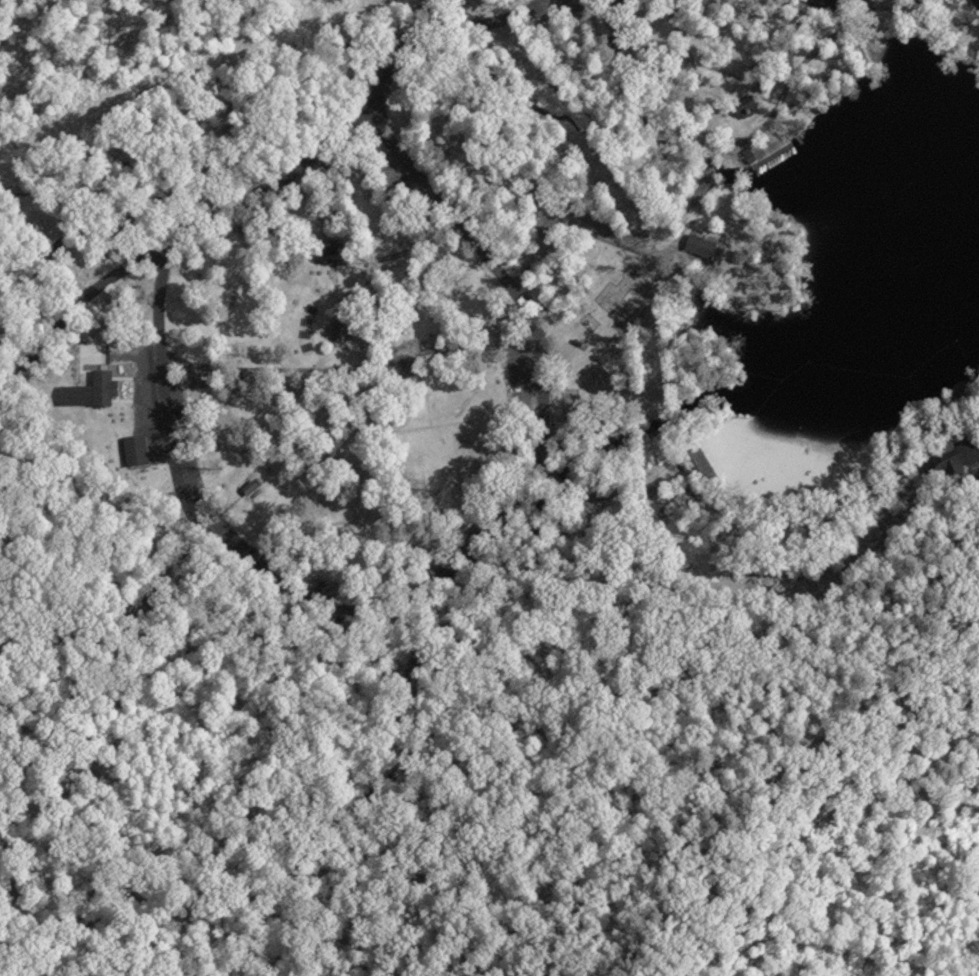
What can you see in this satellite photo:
road: (904, 1)
parking lot: (837, 6)
parking lot: (581, 7)
road: (914, 7)
road: (657, 17)
road: (498, 19)
road: (662, 29)
road: (860, 43)
road: (944, 43)
road: (692, 70)
pier: (873, 76)
building: (743, 101)
pier: (822, 111)
building: (748, 151)
road: (694, 179)
road: (221, 208)
building: (318, 209)
building: (323, 238)
building: (698, 241)
building: (320, 250)
road: (157, 346)
road: (127, 351)
road: (335, 363)
building: (102, 385)
road: (546, 431)
building: (133, 448)
building: (959, 454)
building: (700, 459)
building: (248, 483)
road: (511, 513)

